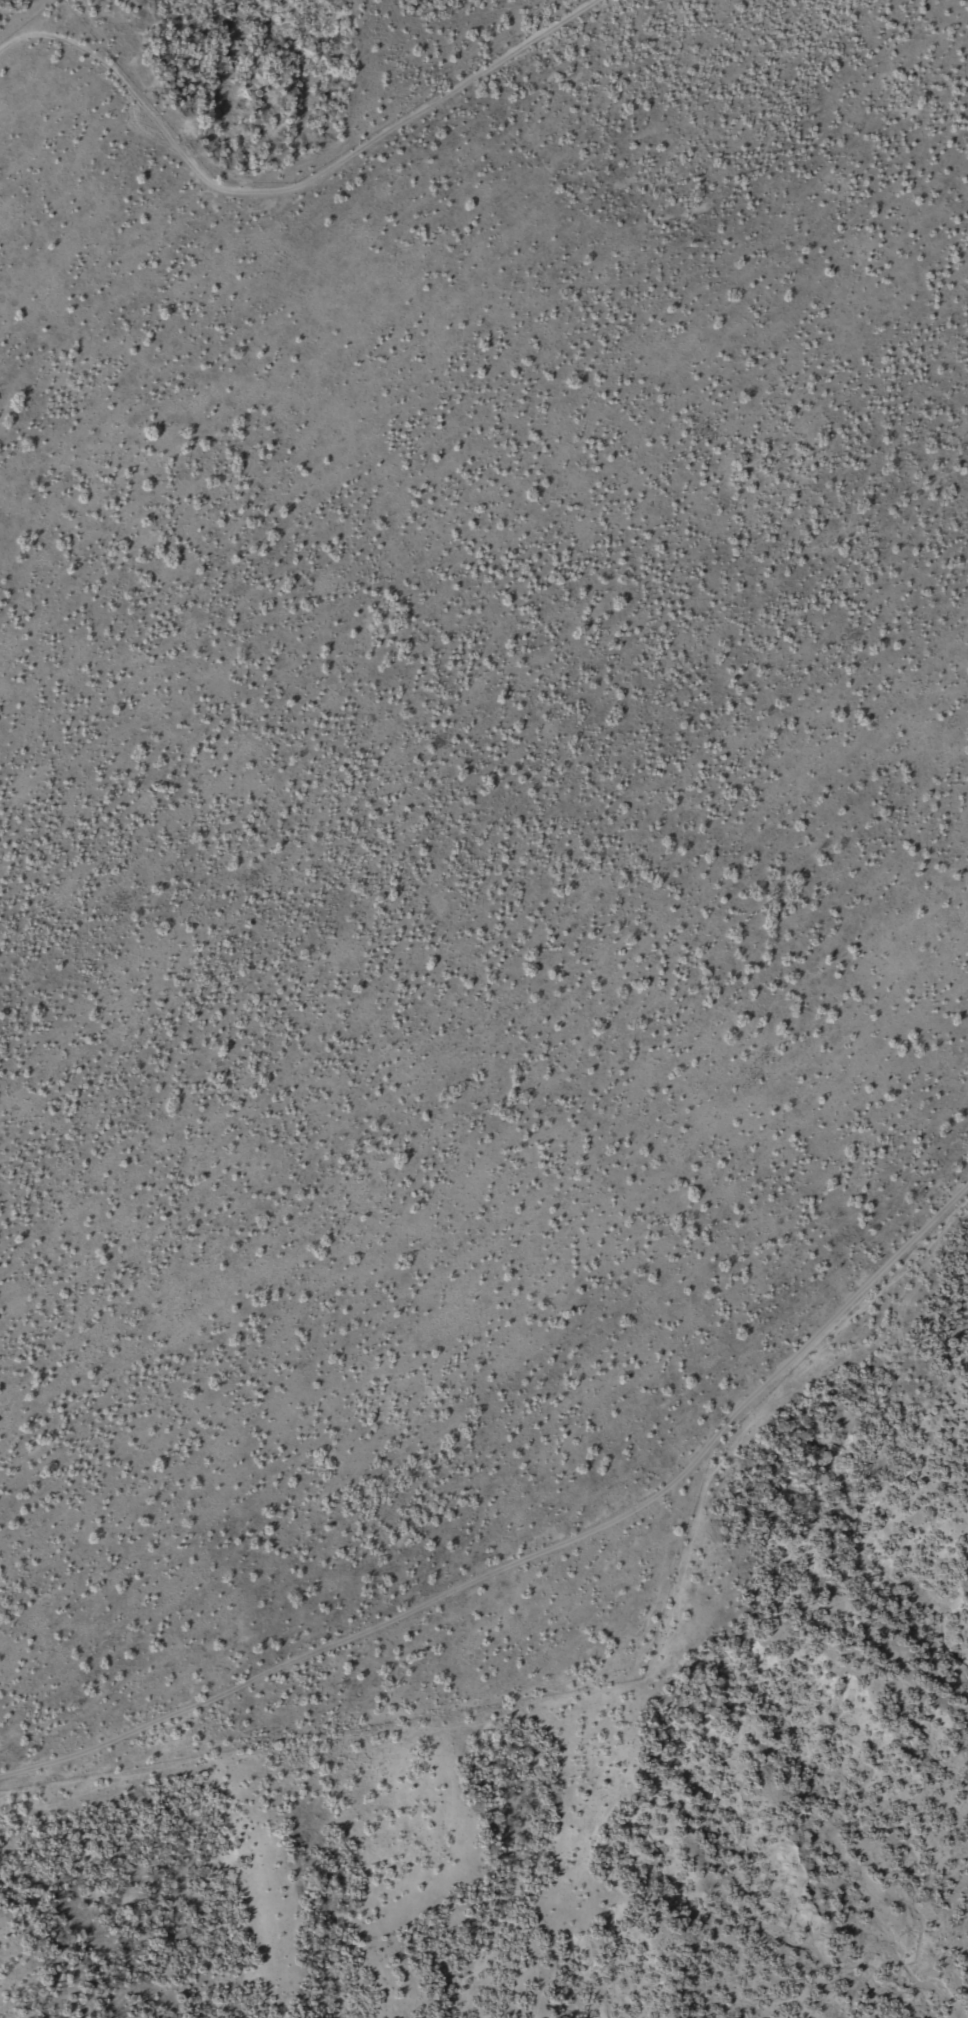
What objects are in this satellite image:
road: (405, 164)
road: (538, 1588)

